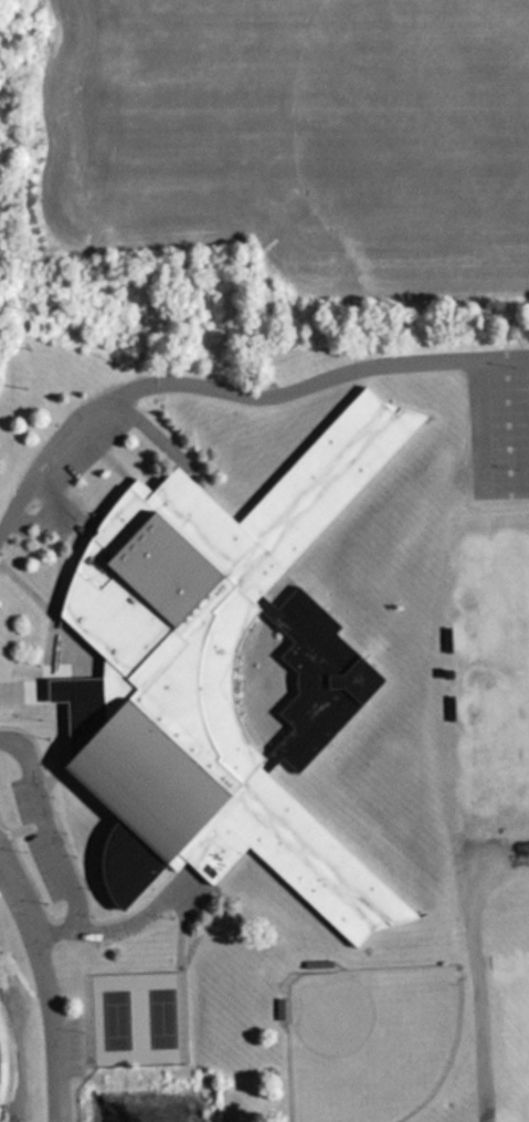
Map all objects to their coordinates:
road: (210, 391)
park: (501, 664)
building: (220, 677)
road: (45, 994)
park: (370, 1041)

